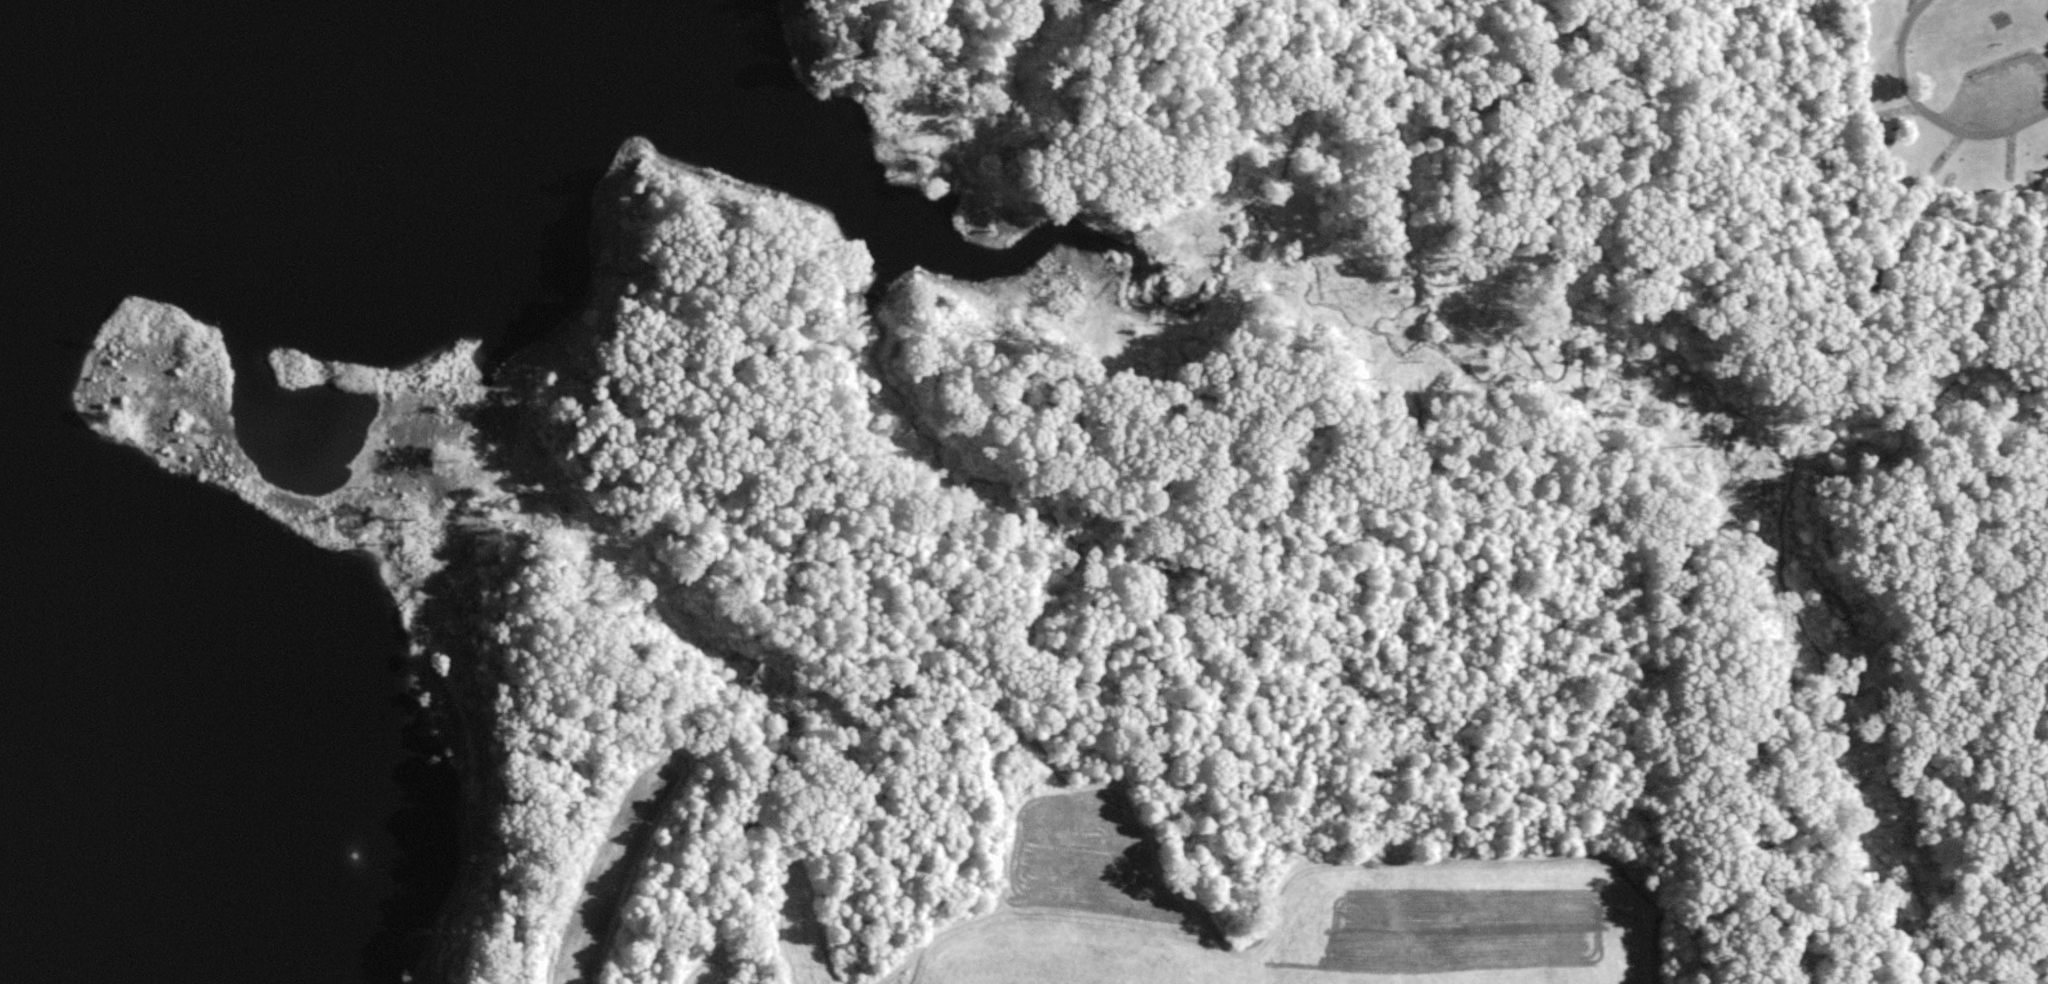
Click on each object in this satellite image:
road: (1929, 109)
road: (1994, 185)

